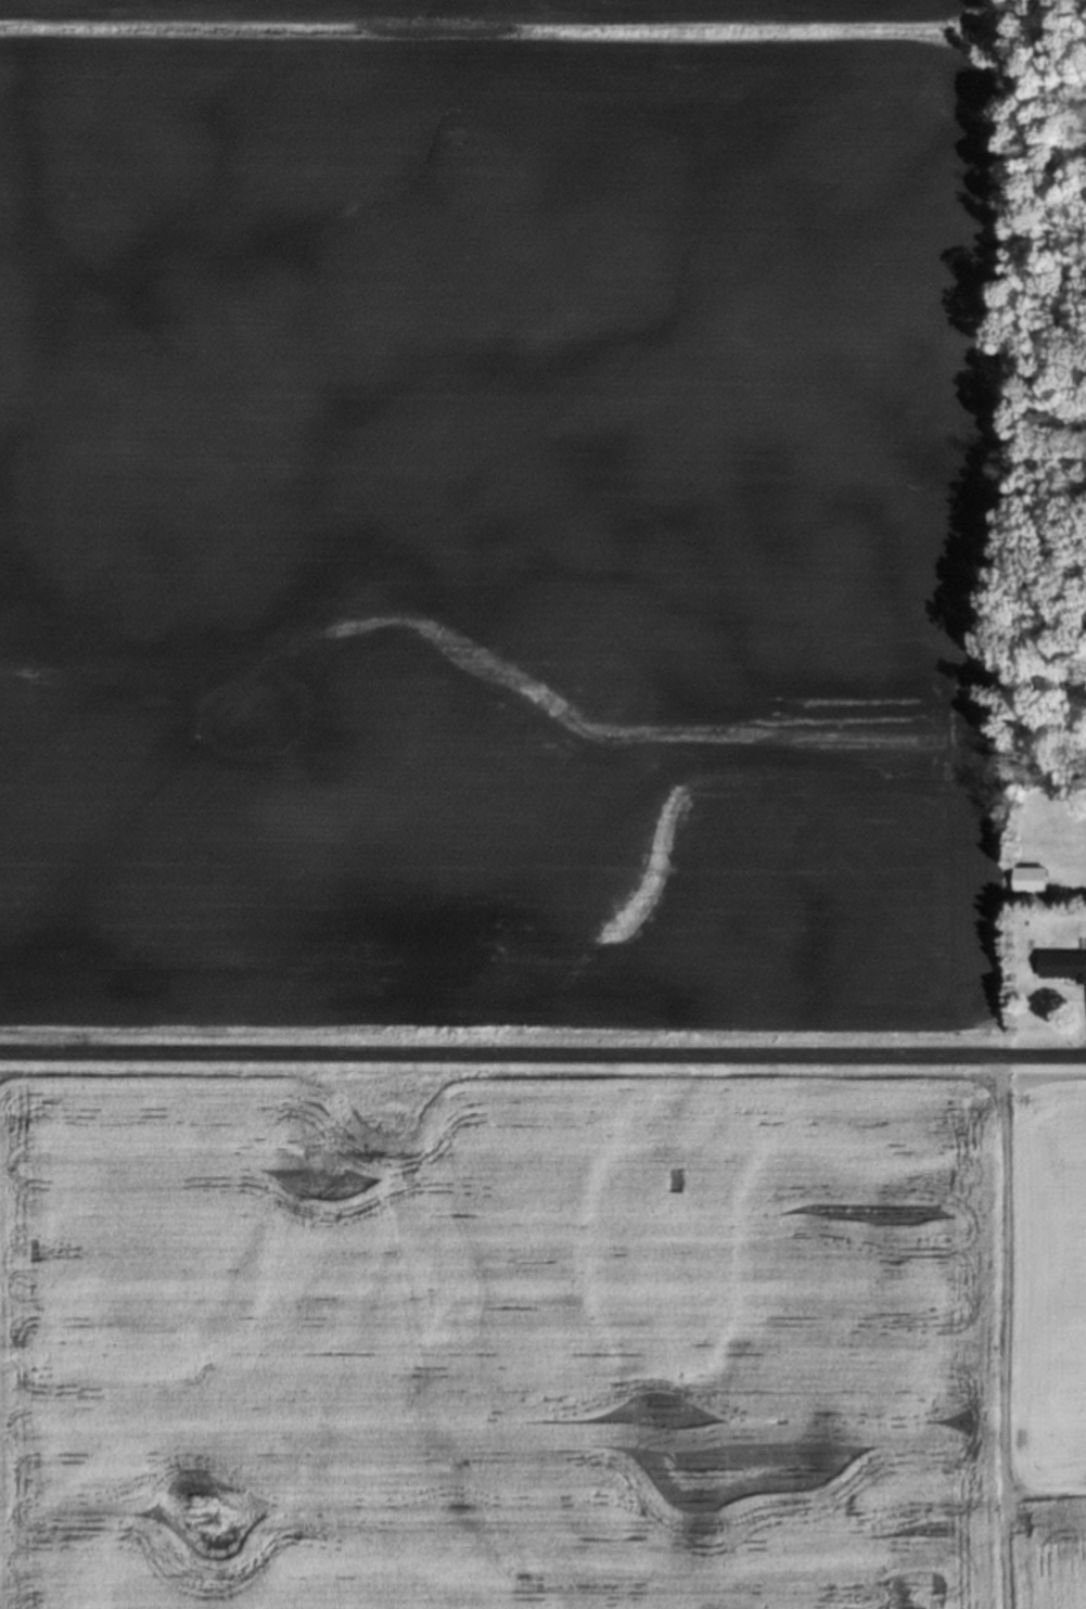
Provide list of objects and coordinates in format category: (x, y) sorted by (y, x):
building: (1028, 881)
building: (1062, 965)
road: (542, 1056)

